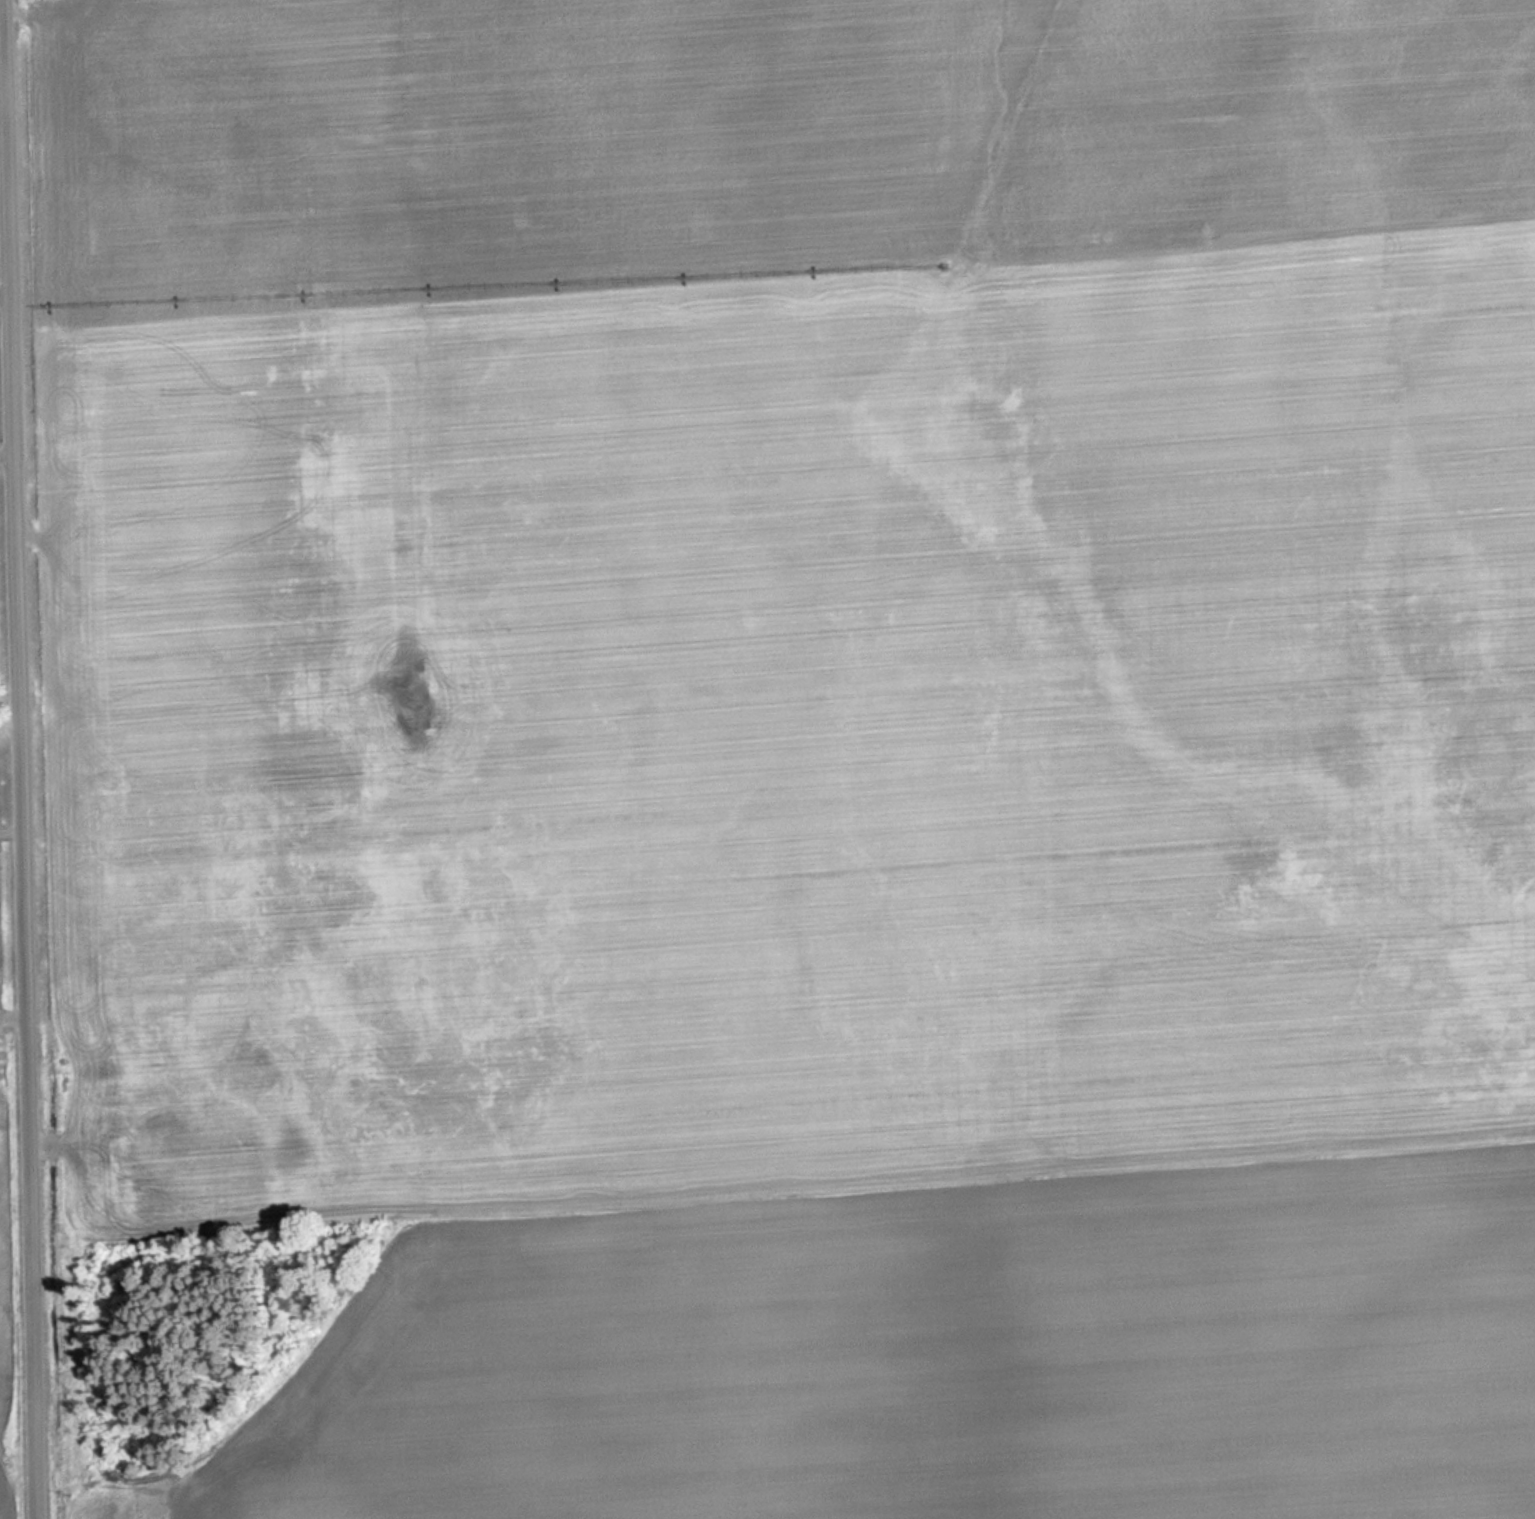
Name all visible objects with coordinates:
road: (21, 759)

